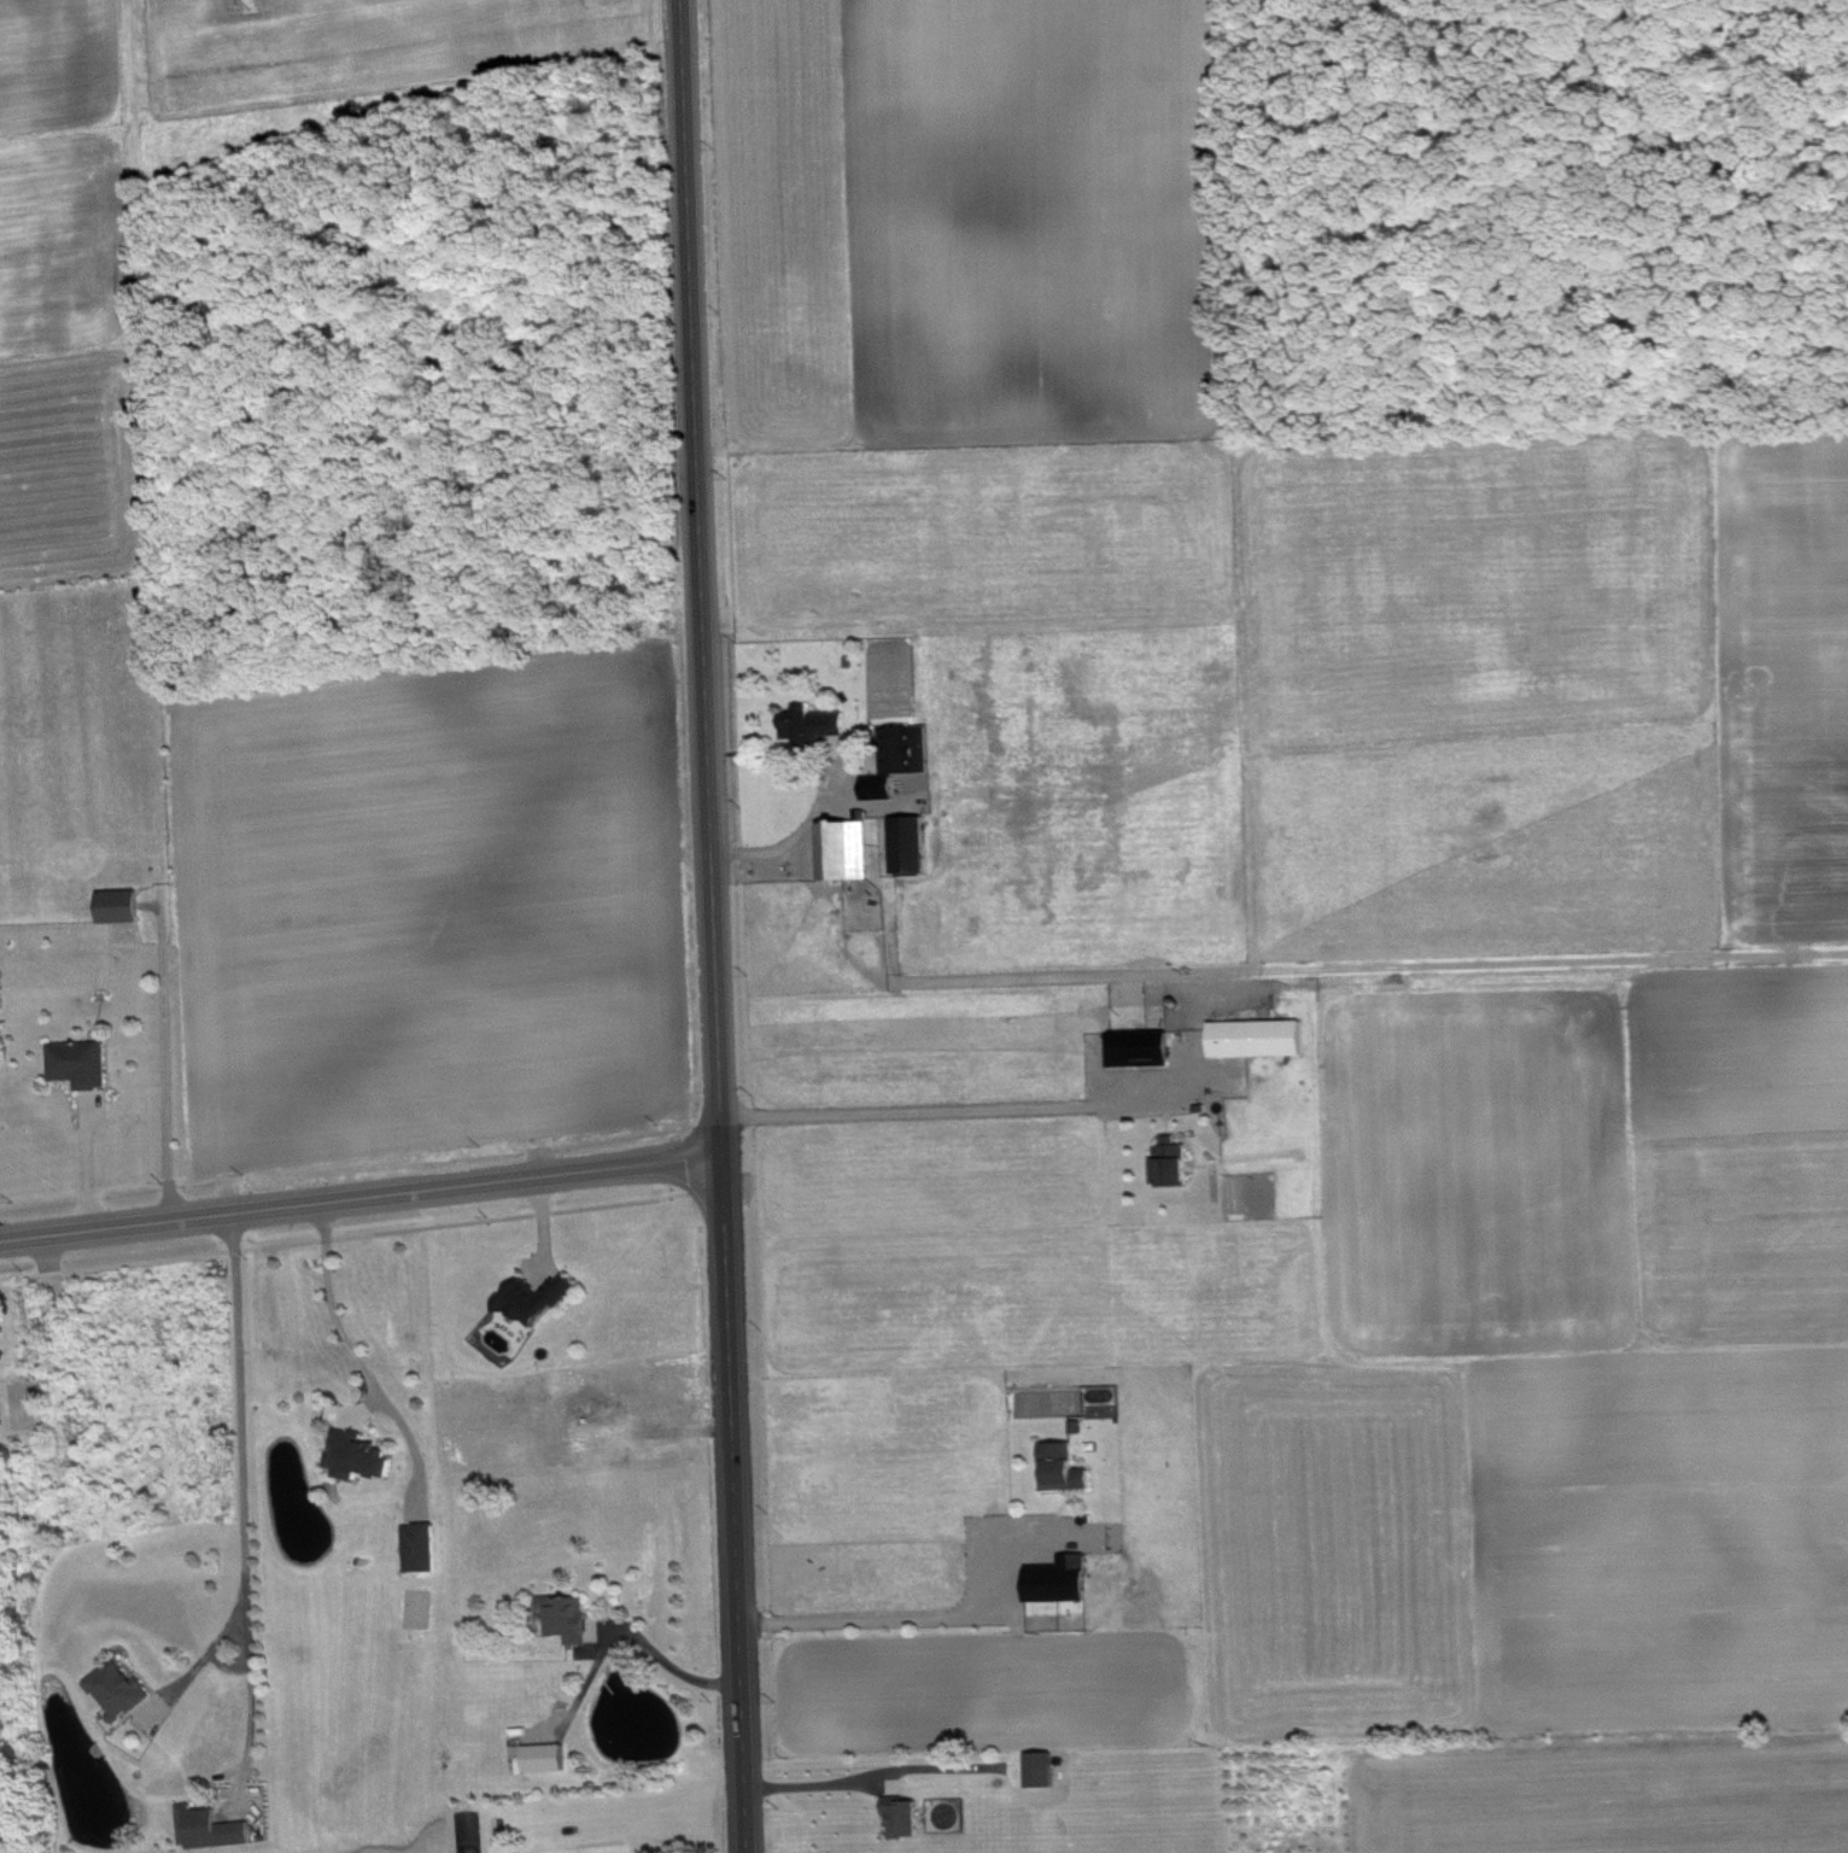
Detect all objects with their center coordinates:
building: (819, 725)
building: (912, 749)
building: (884, 789)
building: (918, 844)
building: (852, 850)
building: (124, 906)
road: (713, 926)
building: (1262, 1039)
building: (1145, 1048)
building: (86, 1064)
road: (934, 1110)
building: (1176, 1162)
road: (361, 1199)
building: (540, 1299)
road: (350, 1348)
building: (363, 1456)
building: (1069, 1468)
road: (242, 1500)
building: (427, 1548)
building: (1065, 1582)
road: (862, 1618)
building: (574, 1619)
road: (205, 1655)
road: (674, 1672)
building: (125, 1690)
building: (550, 1758)
road: (815, 1785)
building: (911, 1819)
building: (215, 1829)

